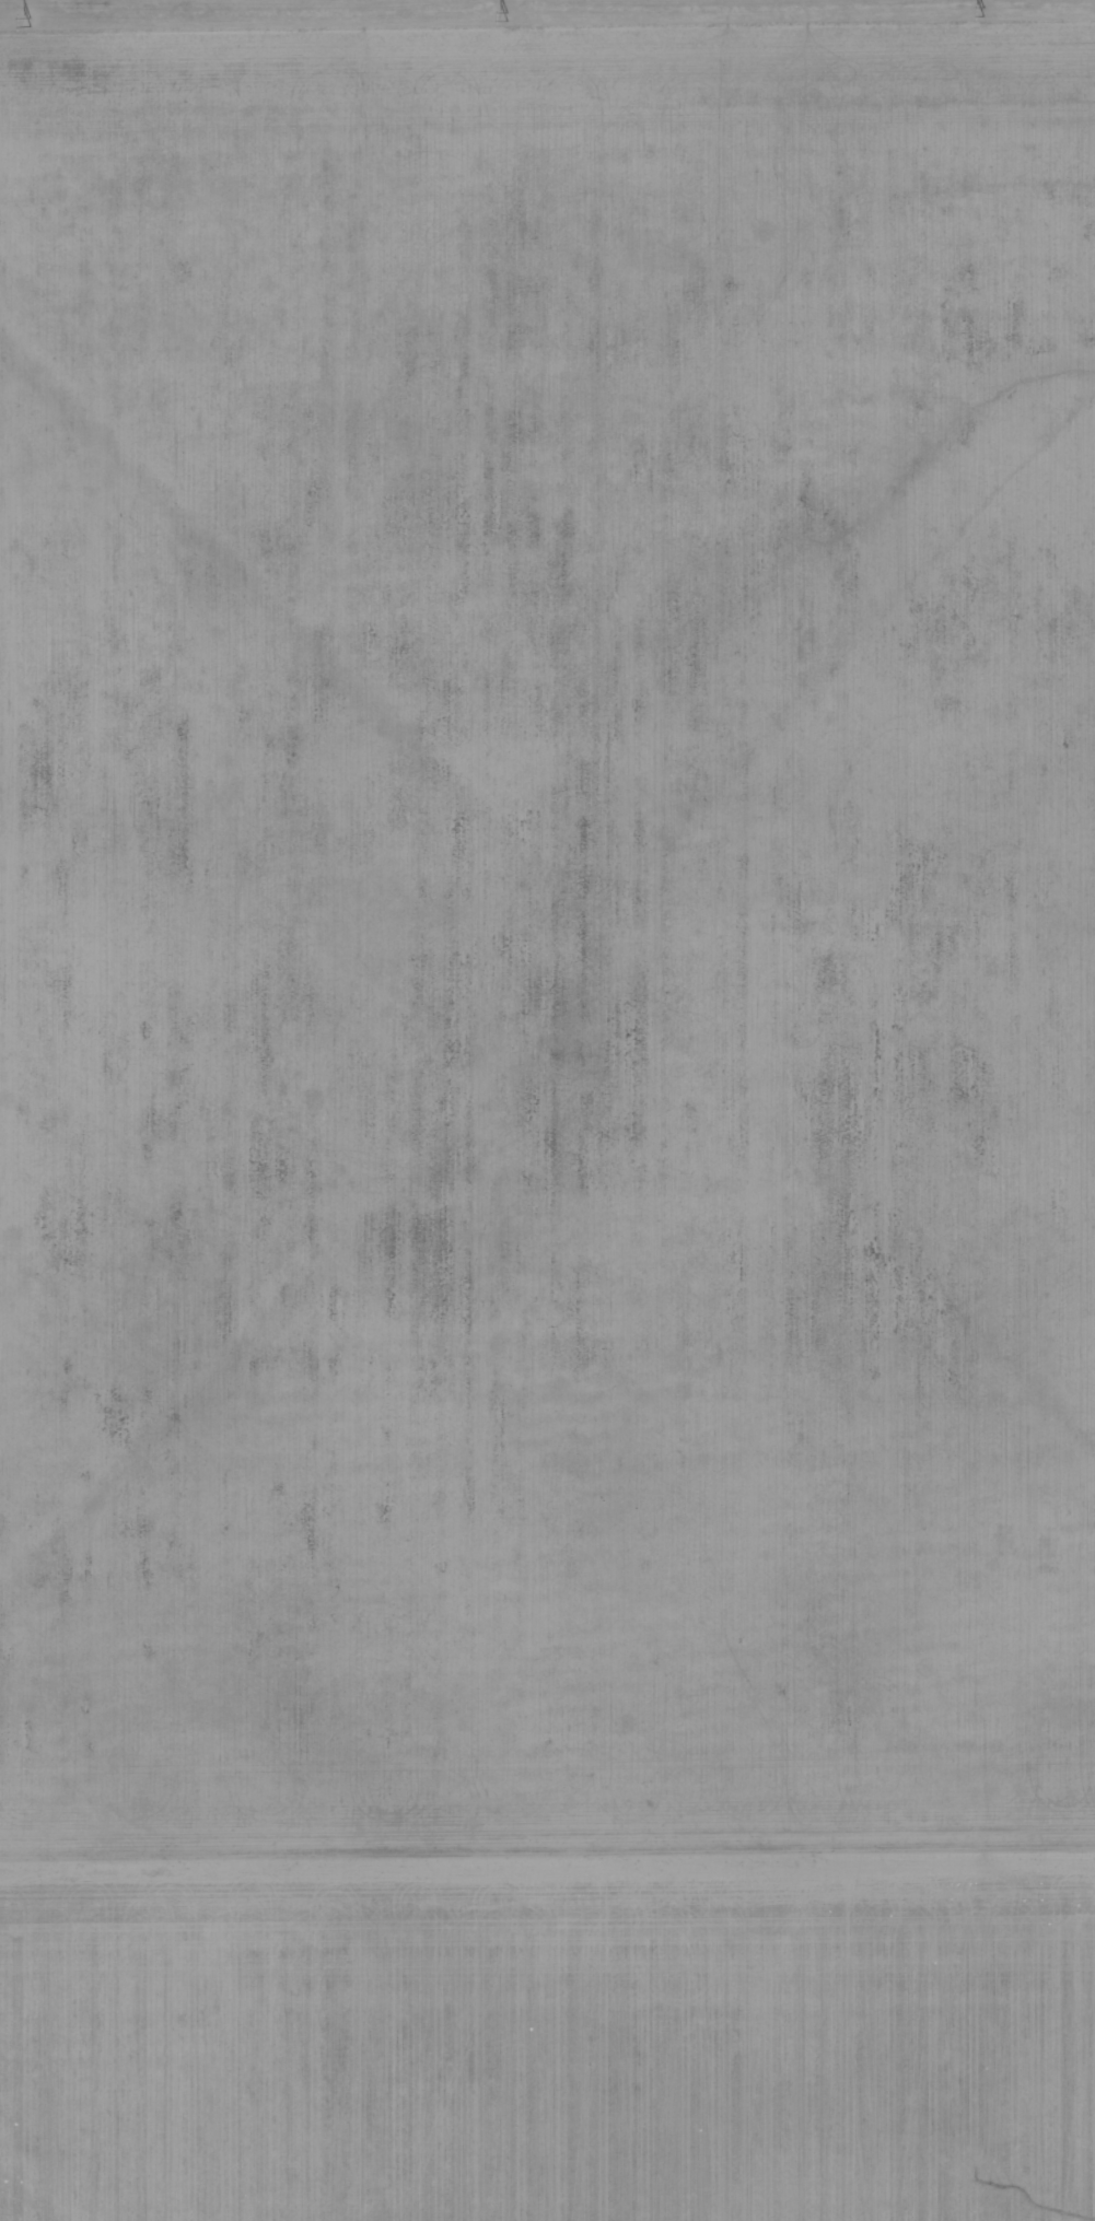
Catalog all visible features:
power tower: (981, 13)
power tower: (504, 15)
power tower: (28, 21)

